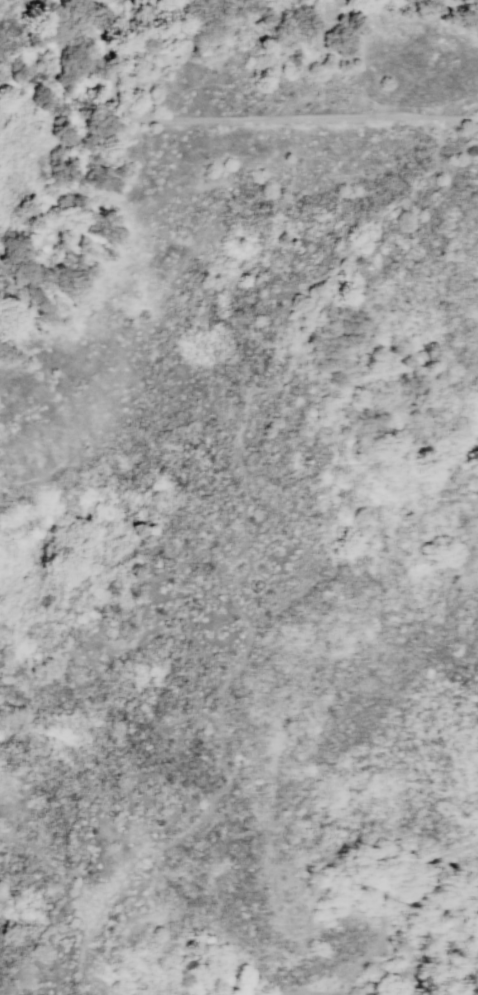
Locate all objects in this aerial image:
road: (241, 116)
road: (228, 515)
road: (61, 872)
road: (384, 921)
road: (85, 968)

